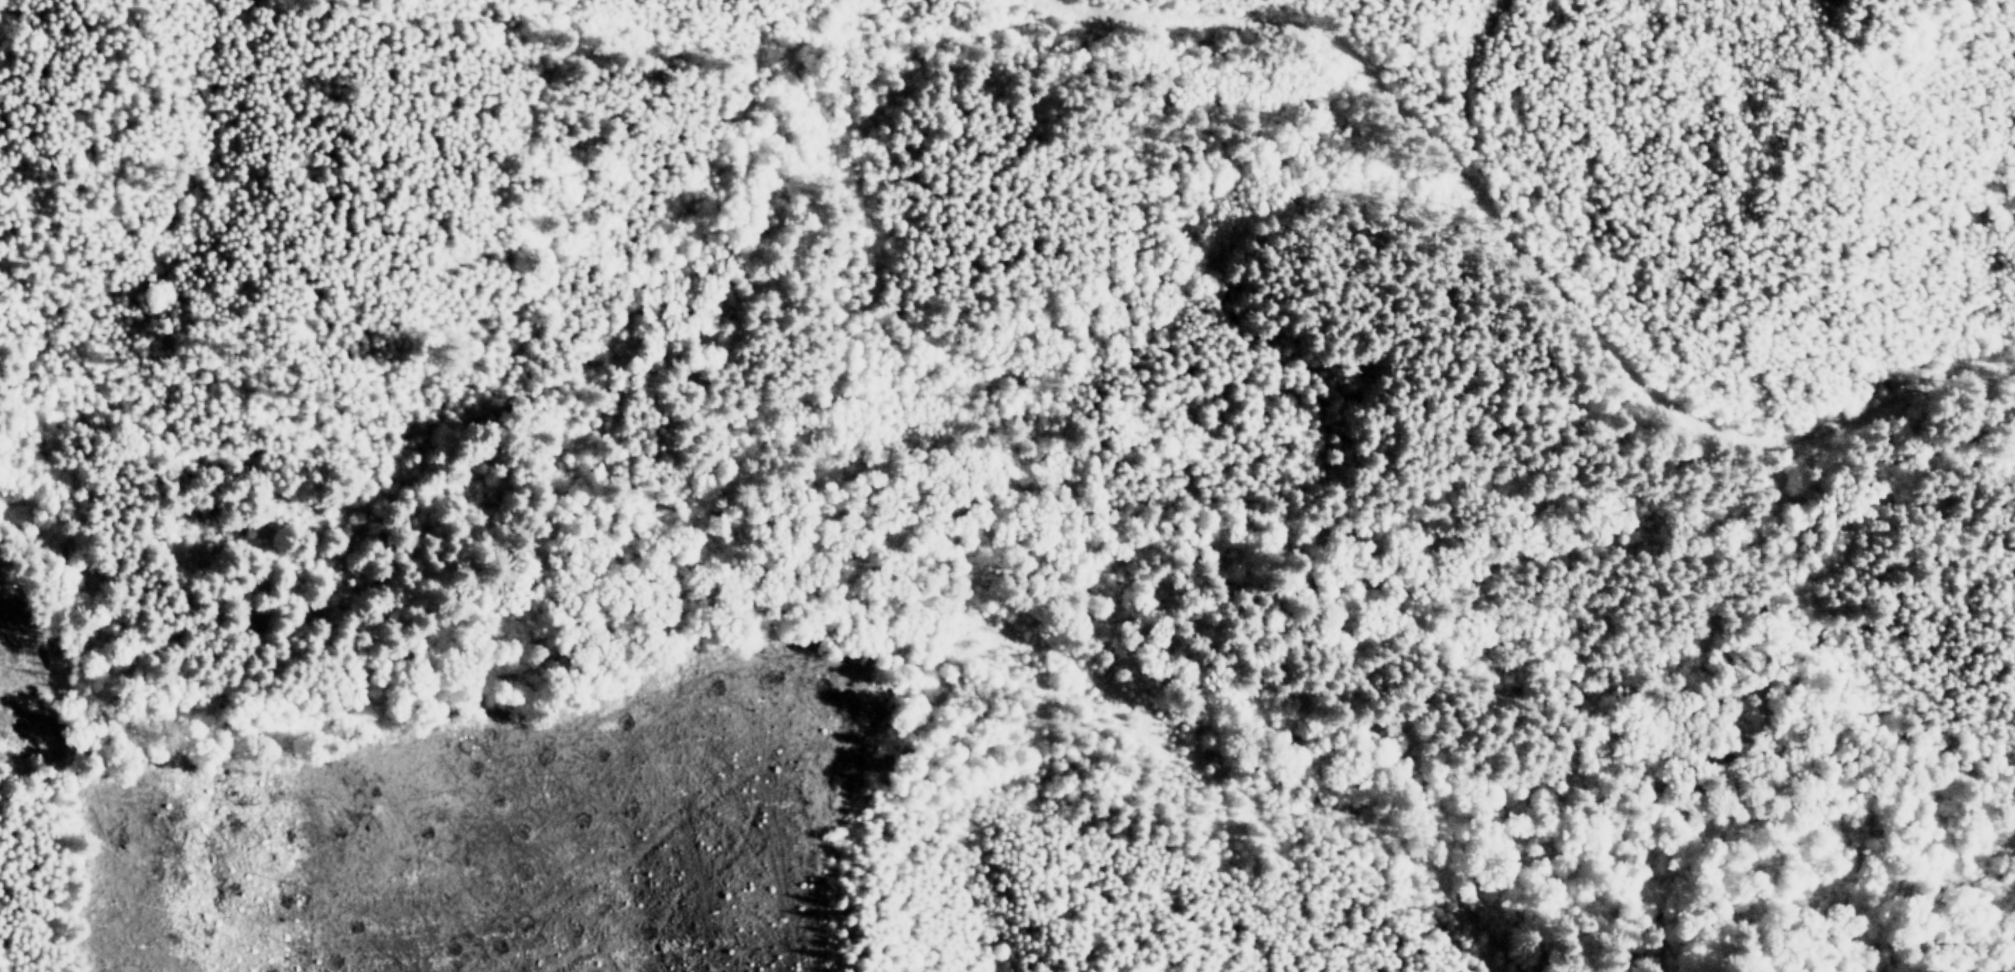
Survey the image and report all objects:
road: (1542, 283)

